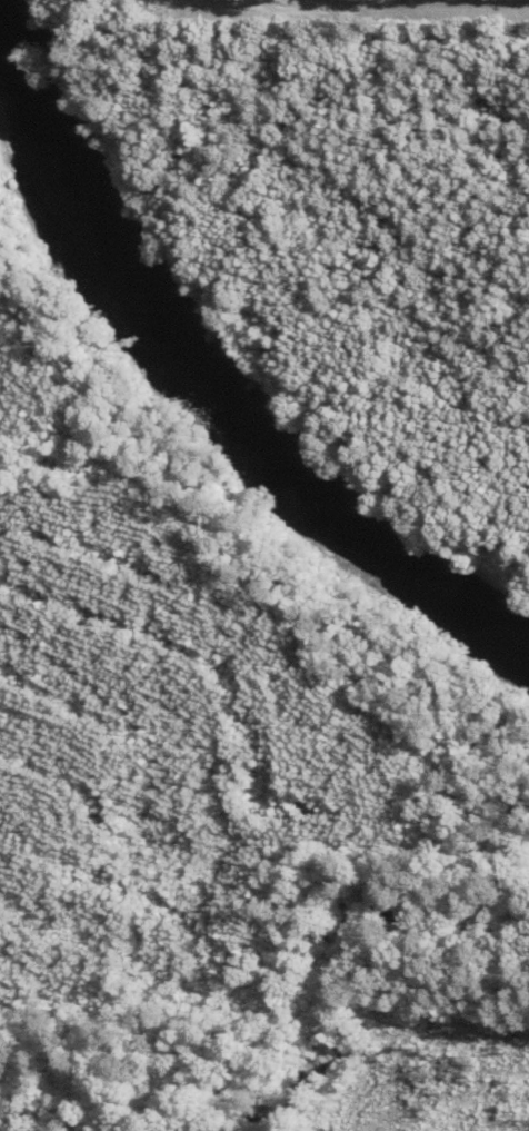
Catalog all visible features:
river: (216, 398)

